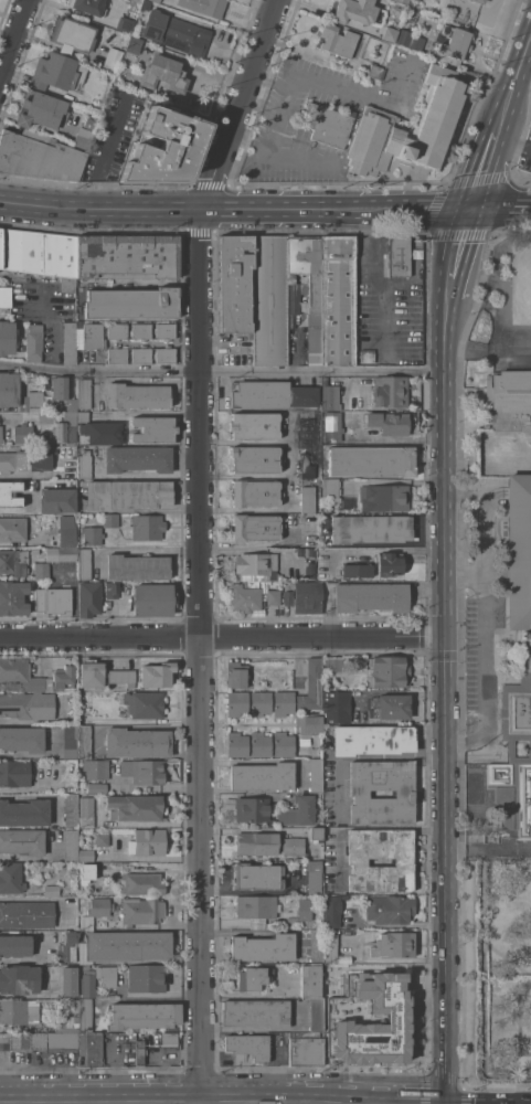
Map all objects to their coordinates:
building: (158, 0)
building: (466, 0)
building: (404, 1)
building: (479, 1)
building: (147, 4)
building: (89, 7)
building: (205, 7)
building: (355, 11)
building: (125, 24)
building: (177, 32)
building: (390, 33)
road: (12, 35)
building: (74, 35)
building: (338, 40)
building: (410, 40)
building: (454, 43)
building: (132, 50)
building: (113, 60)
building: (375, 71)
building: (57, 72)
building: (163, 74)
road: (516, 79)
road: (364, 96)
road: (236, 104)
building: (41, 109)
road: (276, 118)
building: (437, 118)
building: (91, 123)
building: (327, 125)
building: (530, 127)
building: (84, 138)
road: (512, 144)
building: (163, 149)
road: (105, 152)
building: (39, 157)
road: (300, 157)
road: (484, 164)
road: (194, 209)
road: (429, 210)
traffic signals: (469, 210)
road: (500, 210)
road: (457, 244)
building: (40, 254)
building: (400, 255)
building: (127, 256)
road: (378, 280)
building: (236, 284)
building: (306, 288)
road: (446, 295)
building: (4, 297)
road: (42, 297)
building: (270, 299)
building: (338, 299)
building: (131, 302)
road: (386, 328)
building: (141, 330)
building: (117, 331)
building: (166, 331)
building: (93, 336)
building: (7, 337)
building: (34, 342)
building: (70, 342)
road: (487, 348)
building: (117, 354)
building: (141, 354)
building: (166, 354)
building: (367, 355)
road: (221, 372)
building: (39, 375)
building: (63, 391)
building: (390, 392)
building: (84, 393)
building: (270, 394)
building: (20, 395)
building: (137, 395)
building: (330, 397)
building: (510, 400)
building: (83, 416)
building: (331, 420)
building: (389, 422)
building: (255, 425)
building: (47, 429)
building: (153, 429)
building: (308, 431)
building: (102, 432)
building: (1, 434)
building: (331, 436)
building: (138, 458)
building: (254, 458)
building: (25, 459)
building: (371, 460)
building: (307, 461)
building: (85, 464)
road: (444, 473)
building: (33, 484)
building: (330, 487)
building: (255, 492)
building: (10, 493)
building: (128, 493)
building: (384, 497)
building: (308, 499)
building: (57, 500)
road: (17, 510)
building: (110, 520)
building: (148, 527)
building: (255, 527)
building: (371, 528)
building: (13, 529)
building: (67, 531)
building: (92, 534)
building: (305, 552)
building: (62, 554)
building: (13, 562)
building: (84, 563)
building: (253, 563)
building: (390, 563)
building: (137, 566)
building: (41, 570)
building: (309, 570)
building: (358, 572)
building: (111, 590)
building: (245, 595)
building: (371, 596)
building: (13, 597)
building: (274, 597)
building: (288, 597)
building: (307, 597)
building: (89, 598)
building: (152, 598)
building: (53, 602)
road: (222, 636)
traffic signals: (445, 636)
road: (202, 656)
building: (527, 656)
road: (487, 659)
building: (333, 664)
building: (390, 671)
building: (91, 673)
building: (156, 673)
building: (237, 675)
building: (19, 676)
building: (121, 676)
building: (61, 679)
building: (312, 686)
building: (237, 702)
building: (261, 702)
building: (284, 702)
building: (145, 703)
building: (26, 705)
building: (336, 707)
building: (390, 707)
building: (309, 723)
building: (22, 739)
building: (372, 739)
building: (84, 741)
building: (305, 741)
building: (70, 742)
building: (136, 742)
building: (237, 744)
building: (261, 744)
building: (284, 744)
road: (371, 757)
building: (96, 768)
building: (142, 771)
building: (17, 772)
building: (316, 775)
building: (262, 776)
building: (97, 787)
building: (404, 793)
building: (136, 807)
building: (253, 809)
building: (71, 810)
building: (86, 811)
building: (298, 811)
building: (24, 813)
road: (374, 827)
building: (316, 832)
building: (100, 839)
building: (23, 840)
building: (147, 841)
building: (256, 843)
building: (71, 845)
building: (293, 846)
road: (488, 850)
building: (86, 854)
building: (358, 860)
road: (446, 869)
building: (87, 872)
building: (258, 874)
building: (315, 877)
building: (11, 878)
building: (140, 883)
building: (51, 890)
road: (34, 896)
building: (286, 899)
building: (257, 909)
building: (305, 909)
building: (390, 909)
building: (142, 910)
building: (332, 910)
building: (95, 912)
building: (25, 914)
building: (393, 944)
building: (14, 945)
building: (317, 945)
building: (330, 945)
building: (124, 946)
building: (67, 947)
building: (264, 947)
building: (106, 976)
building: (147, 977)
building: (252, 977)
building: (19, 979)
building: (70, 980)
building: (309, 980)
building: (87, 984)
building: (75, 1001)
building: (19, 1011)
building: (256, 1011)
building: (317, 1013)
building: (86, 1015)
building: (145, 1015)
building: (368, 1019)
building: (67, 1023)
building: (169, 1038)
building: (39, 1040)
building: (248, 1045)
building: (306, 1048)
building: (89, 1049)
building: (139, 1052)

